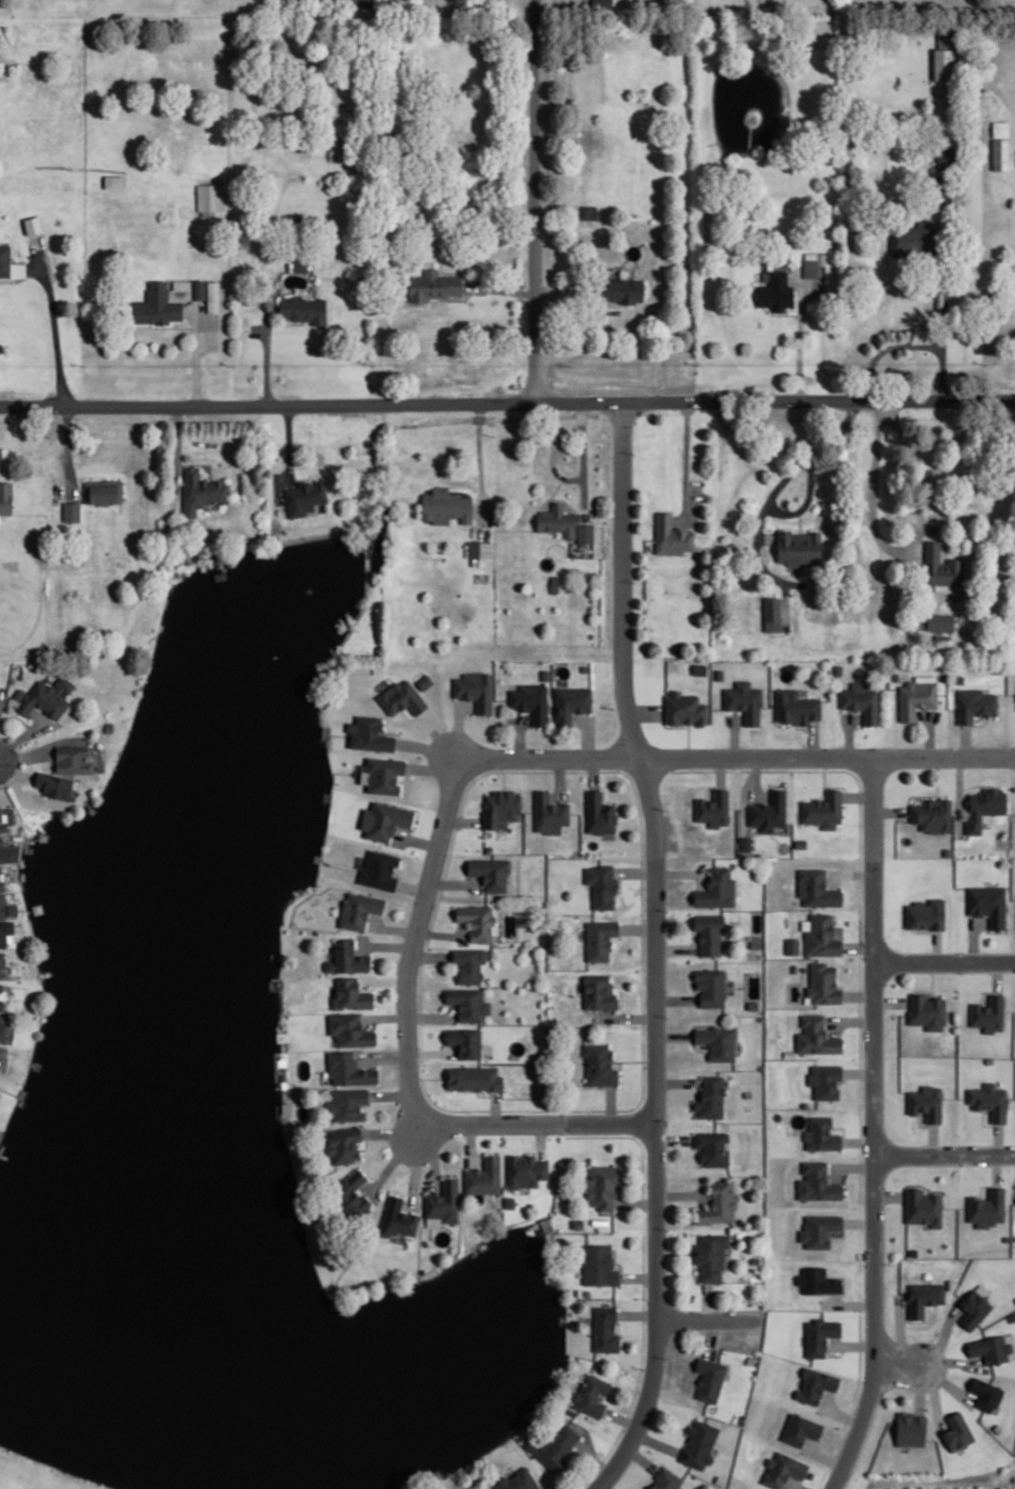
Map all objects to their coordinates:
building: (602, 3)
building: (952, 33)
building: (940, 36)
building: (941, 63)
road: (956, 148)
building: (998, 153)
building: (942, 156)
building: (115, 180)
building: (210, 195)
road: (533, 200)
building: (589, 210)
building: (33, 225)
building: (909, 237)
building: (5, 258)
building: (300, 265)
road: (28, 267)
building: (808, 267)
building: (18, 270)
road: (14, 283)
building: (431, 285)
road: (943, 285)
building: (200, 288)
road: (504, 289)
building: (623, 289)
road: (560, 290)
building: (773, 291)
building: (213, 295)
building: (157, 304)
building: (304, 308)
road: (53, 320)
road: (286, 322)
road: (177, 325)
road: (797, 340)
road: (885, 346)
road: (267, 351)
road: (197, 359)
road: (507, 401)
road: (177, 446)
road: (68, 450)
road: (289, 452)
road: (554, 454)
road: (686, 459)
road: (583, 460)
road: (201, 463)
road: (480, 465)
flagpole: (801, 474)
building: (104, 489)
building: (201, 489)
road: (774, 490)
building: (6, 496)
building: (306, 496)
road: (806, 498)
building: (447, 506)
building: (73, 510)
building: (558, 519)
road: (800, 520)
building: (586, 532)
building: (670, 535)
road: (942, 538)
building: (798, 546)
building: (480, 548)
road: (903, 549)
pier: (220, 565)
building: (941, 565)
road: (920, 577)
road: (786, 601)
building: (771, 613)
building: (939, 621)
building: (676, 649)
building: (585, 667)
building: (698, 667)
building: (837, 669)
building: (546, 673)
building: (719, 674)
building: (895, 675)
building: (958, 678)
building: (425, 681)
building: (475, 688)
road: (0, 692)
building: (19, 693)
building: (403, 696)
building: (47, 697)
building: (915, 697)
building: (743, 699)
building: (532, 700)
building: (860, 700)
building: (573, 702)
building: (973, 703)
building: (795, 706)
building: (682, 708)
road: (645, 711)
building: (110, 726)
road: (670, 726)
pier: (325, 730)
road: (459, 730)
road: (393, 731)
road: (341, 733)
building: (371, 733)
road: (930, 733)
road: (520, 734)
road: (849, 734)
road: (22, 735)
road: (442, 735)
road: (734, 735)
road: (587, 736)
road: (813, 738)
road: (688, 740)
road: (965, 740)
street lamp: (1005, 744)
street lamp: (553, 745)
road: (428, 747)
road: (25, 755)
road: (665, 756)
road: (944, 756)
building: (74, 758)
street lamp: (736, 767)
road: (433, 768)
road: (16, 771)
road: (486, 771)
road: (17, 772)
road: (594, 772)
building: (385, 773)
road: (753, 776)
road: (937, 776)
road: (560, 777)
road: (504, 778)
building: (55, 783)
road: (823, 783)
road: (958, 794)
pier: (327, 795)
road: (857, 795)
building: (502, 806)
building: (983, 806)
pier: (92, 807)
building: (822, 808)
building: (713, 809)
building: (768, 810)
road: (889, 810)
building: (600, 812)
building: (549, 813)
building: (931, 814)
building: (386, 819)
road: (463, 820)
building: (3, 822)
road: (417, 840)
building: (746, 842)
building: (800, 843)
building: (4, 850)
building: (946, 851)
street lamp: (447, 853)
road: (860, 854)
pier: (317, 856)
building: (1, 867)
building: (380, 868)
road: (635, 870)
building: (491, 872)
road: (680, 872)
road: (852, 872)
road: (453, 883)
building: (2, 884)
building: (603, 884)
road: (413, 887)
building: (817, 887)
building: (717, 888)
building: (2, 904)
building: (987, 904)
pier: (37, 907)
building: (13, 908)
building: (359, 909)
building: (925, 914)
building: (478, 920)
road: (639, 927)
road: (395, 928)
building: (6, 930)
building: (710, 930)
road: (441, 933)
building: (823, 935)
building: (600, 937)
road: (415, 939)
road: (973, 940)
road: (387, 944)
building: (792, 944)
road: (859, 946)
road: (676, 947)
road: (656, 950)
pier: (276, 956)
road: (430, 956)
building: (348, 957)
road: (943, 961)
building: (2, 962)
pier: (42, 963)
building: (470, 964)
building: (794, 967)
street lamp: (645, 968)
road: (932, 976)
road: (384, 980)
building: (824, 982)
pier: (275, 983)
street lamp: (887, 983)
building: (712, 985)
building: (1, 986)
building: (599, 991)
building: (351, 994)
road: (859, 994)
road: (621, 996)
road: (889, 1001)
building: (1, 1003)
building: (468, 1004)
building: (754, 1004)
building: (926, 1010)
road: (429, 1015)
building: (988, 1015)
road: (385, 1016)
road: (628, 1016)
road: (851, 1020)
building: (3, 1027)
building: (351, 1028)
road: (673, 1034)
building: (817, 1034)
pier: (282, 1036)
building: (718, 1041)
building: (465, 1042)
street lamp: (395, 1046)
building: (3, 1051)
road: (431, 1051)
road: (384, 1057)
road: (635, 1060)
pier: (36, 1064)
building: (600, 1064)
building: (349, 1068)
road: (427, 1077)
building: (474, 1078)
road: (678, 1081)
building: (825, 1081)
building: (749, 1093)
pier: (21, 1094)
road: (391, 1094)
building: (712, 1097)
building: (989, 1101)
building: (347, 1102)
road: (611, 1103)
building: (926, 1103)
road: (495, 1106)
street lamp: (469, 1111)
road: (539, 1122)
road: (873, 1126)
road: (394, 1131)
building: (821, 1135)
road: (674, 1138)
road: (541, 1139)
building: (343, 1142)
pier: (0, 1143)
road: (471, 1143)
building: (713, 1147)
road: (432, 1153)
pier: (3, 1154)
road: (944, 1154)
road: (396, 1156)
road: (415, 1163)
road: (853, 1164)
building: (526, 1169)
building: (485, 1175)
building: (818, 1181)
road: (861, 1182)
building: (602, 1184)
building: (353, 1193)
road: (680, 1193)
road: (888, 1194)
building: (445, 1200)
building: (510, 1201)
road: (636, 1201)
building: (720, 1202)
building: (921, 1206)
building: (987, 1209)
building: (399, 1218)
building: (577, 1222)
building: (819, 1230)
pier: (482, 1244)
building: (912, 1251)
road: (675, 1252)
building: (712, 1254)
building: (756, 1259)
building: (599, 1264)
road: (638, 1276)
building: (818, 1281)
road: (644, 1286)
building: (586, 1291)
street lamp: (646, 1297)
building: (924, 1298)
road: (706, 1300)
pier: (334, 1301)
street lamp: (862, 1309)
building: (973, 1309)
road: (638, 1313)
pier: (562, 1317)
road: (710, 1318)
building: (605, 1328)
building: (820, 1334)
road: (711, 1336)
road: (856, 1341)
building: (990, 1348)
road: (950, 1359)
road: (897, 1364)
pier: (555, 1371)
building: (711, 1377)
road: (945, 1378)
building: (816, 1385)
road: (920, 1388)
building: (591, 1393)
building: (986, 1395)
building: (572, 1410)
pier: (530, 1414)
road: (622, 1418)
building: (909, 1428)
building: (800, 1430)
building: (957, 1432)
road: (657, 1442)
building: (700, 1443)
building: (533, 1445)
building: (557, 1446)
road: (593, 1458)
road: (642, 1459)
building: (784, 1468)
building: (667, 1479)
road: (821, 1479)
building: (519, 1480)
road: (797, 1485)
road: (603, 1487)

